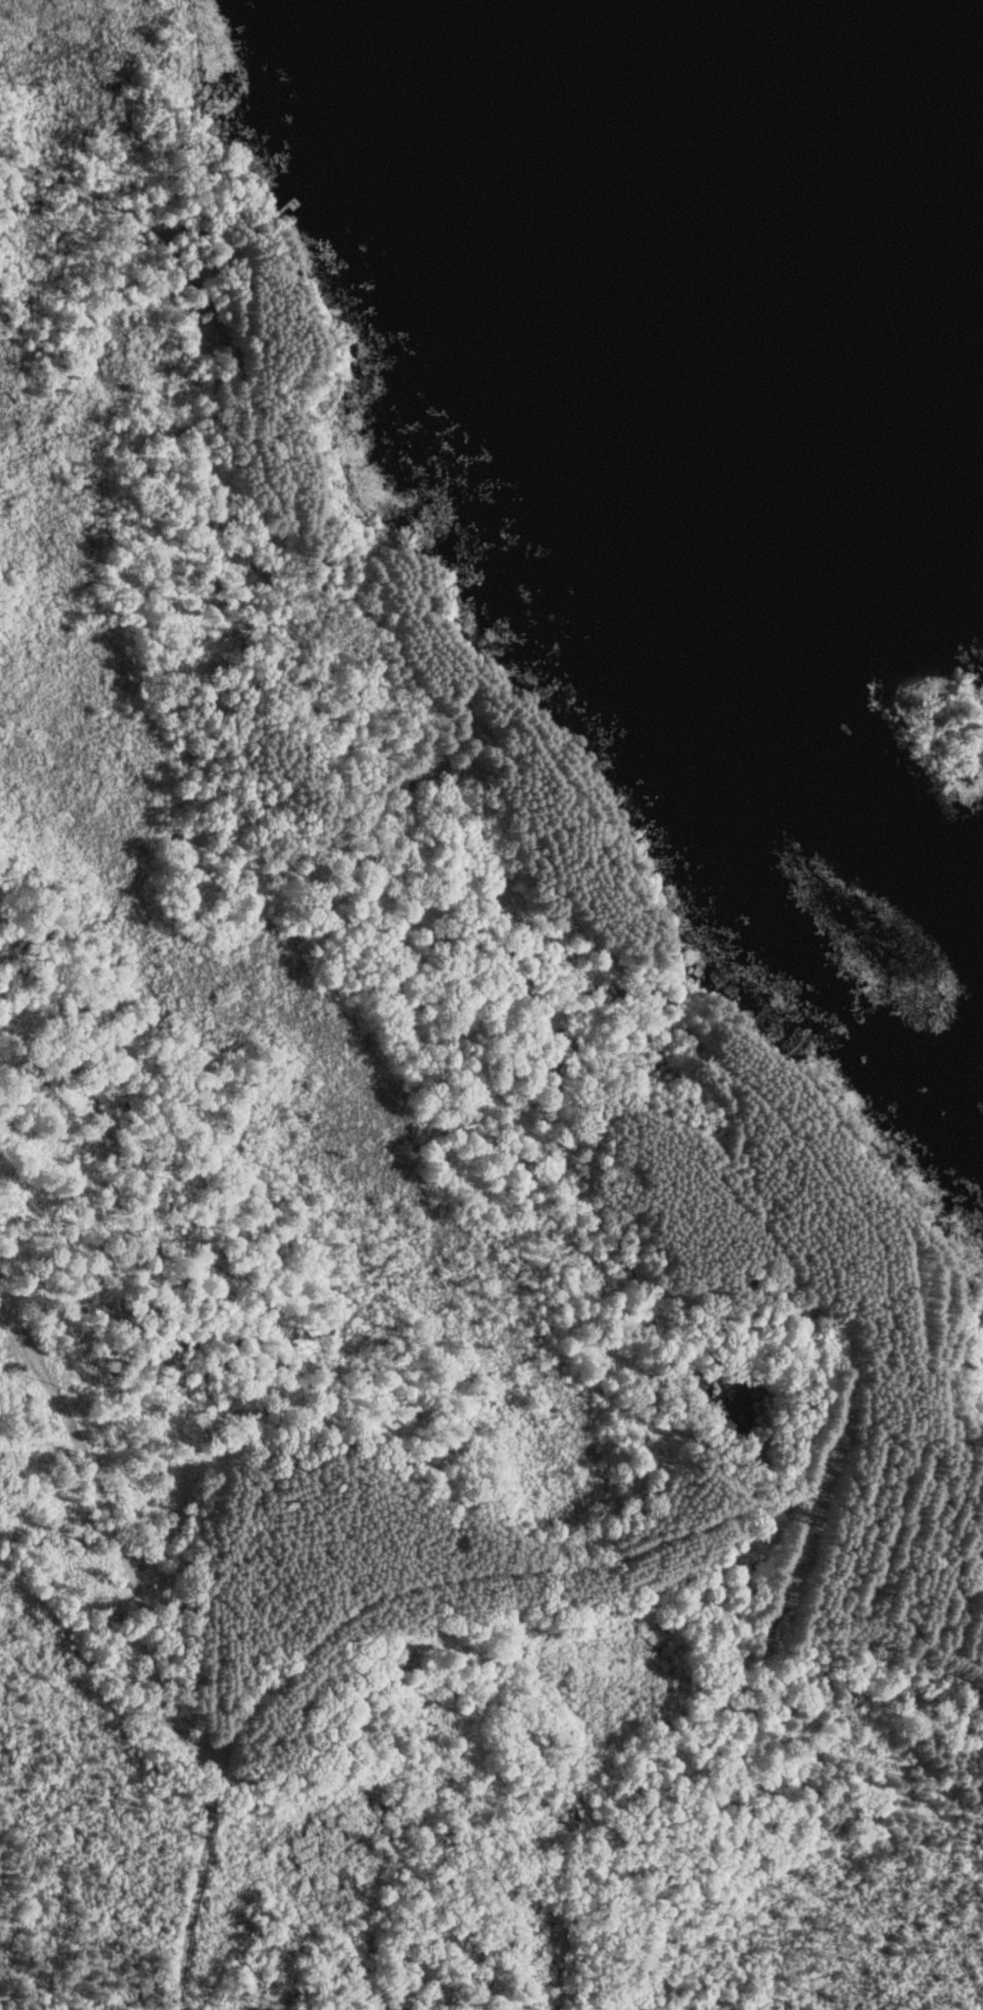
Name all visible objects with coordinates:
road: (769, 1243)

